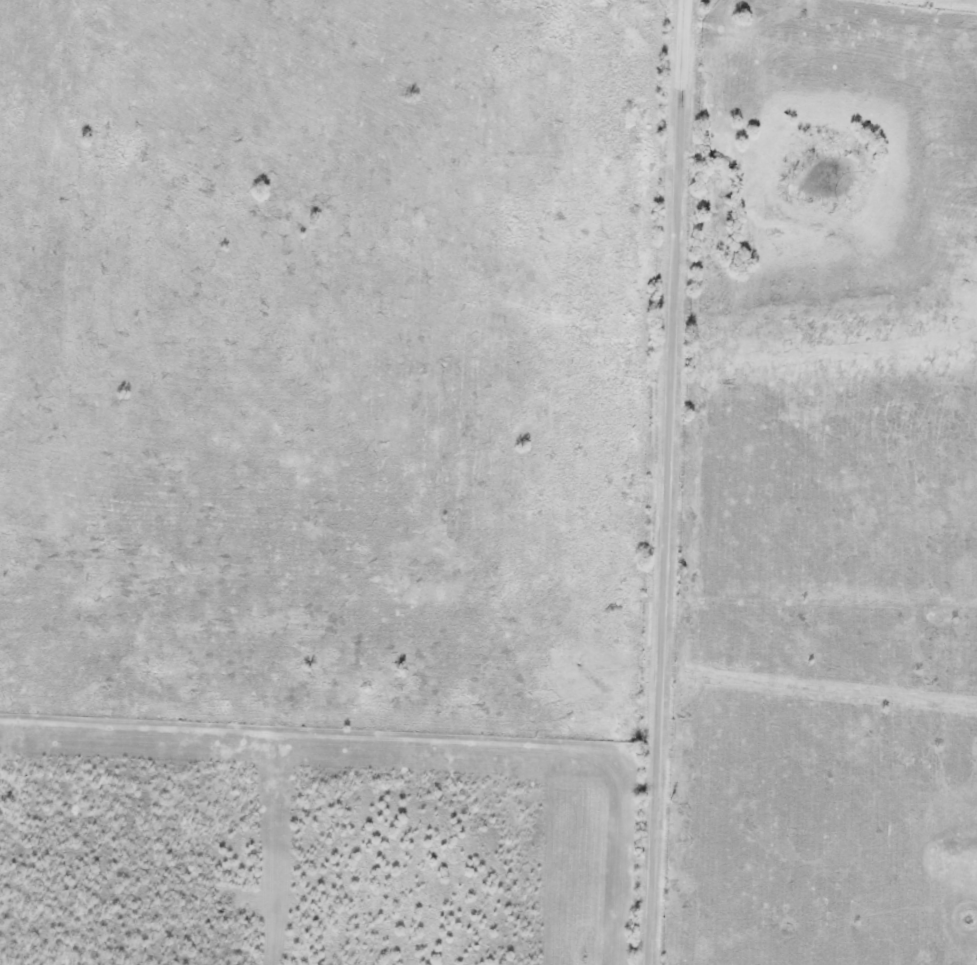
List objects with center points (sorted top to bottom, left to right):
road: (666, 482)

